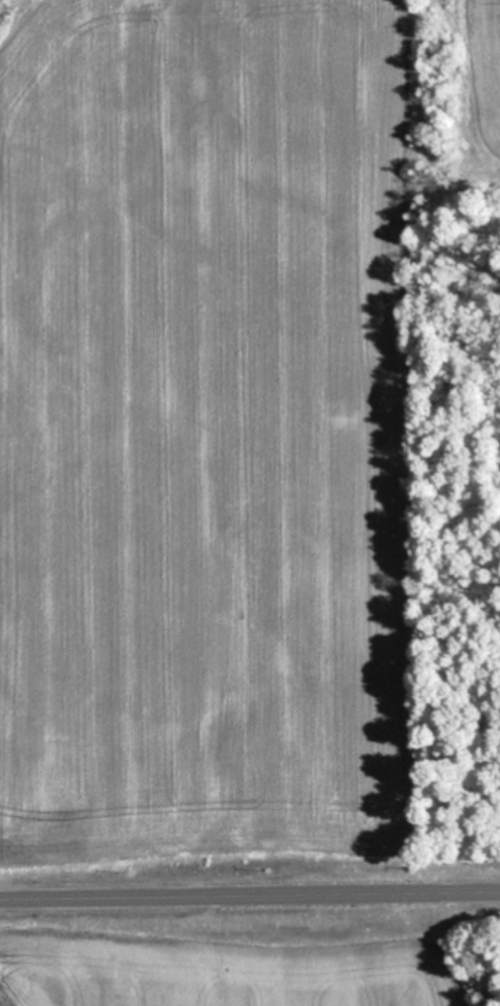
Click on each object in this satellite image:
road: (250, 895)

